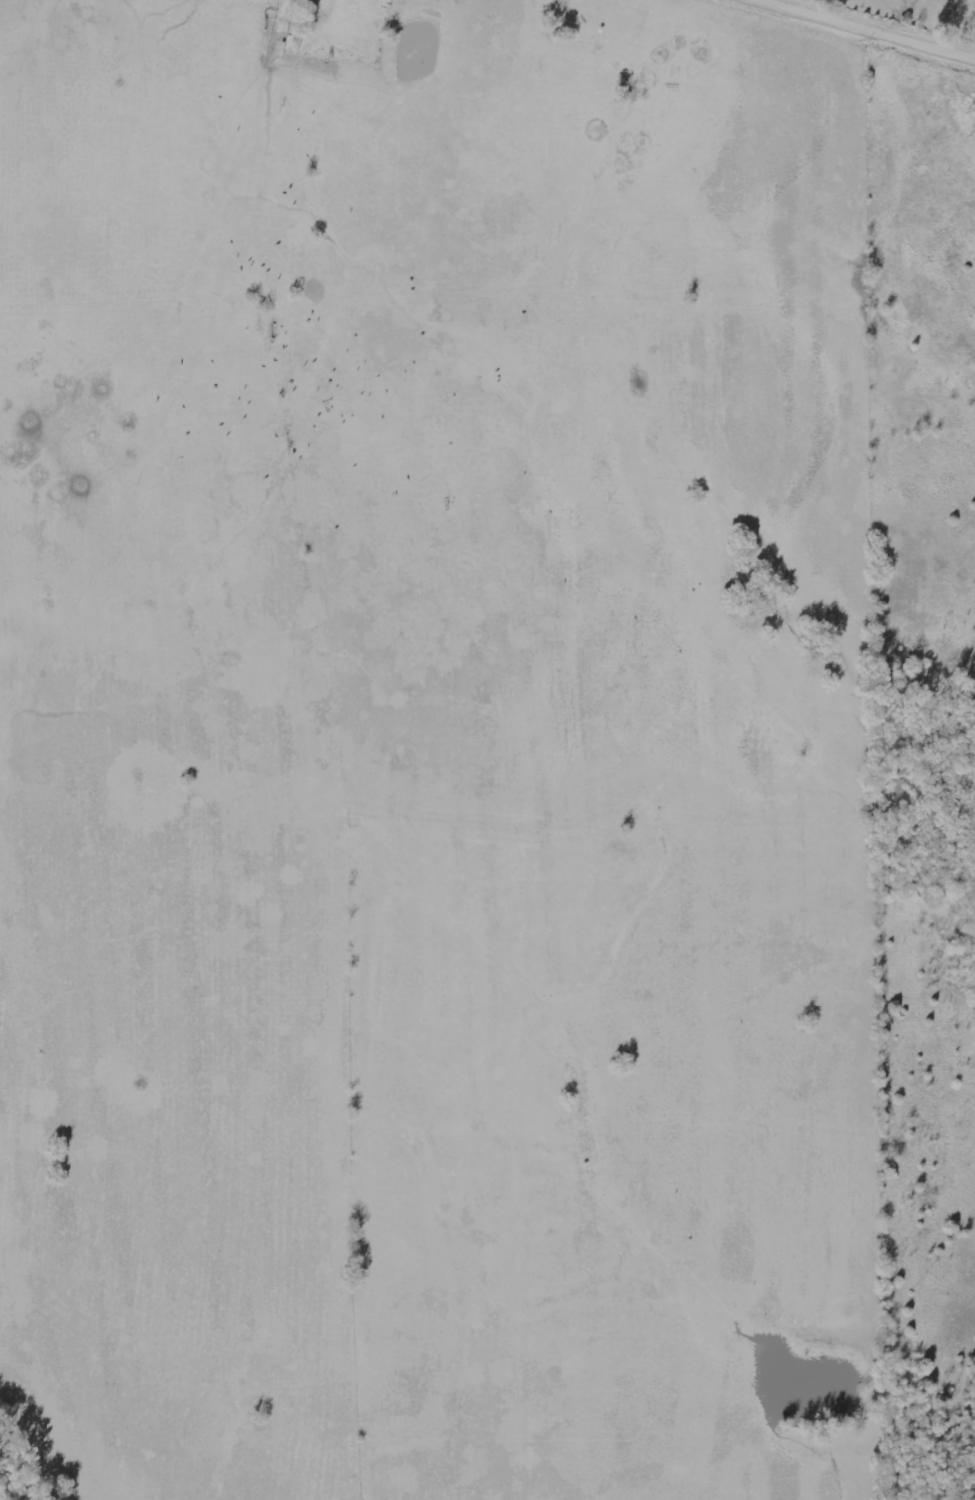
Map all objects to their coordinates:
building: (273, 2)
road: (866, 30)

